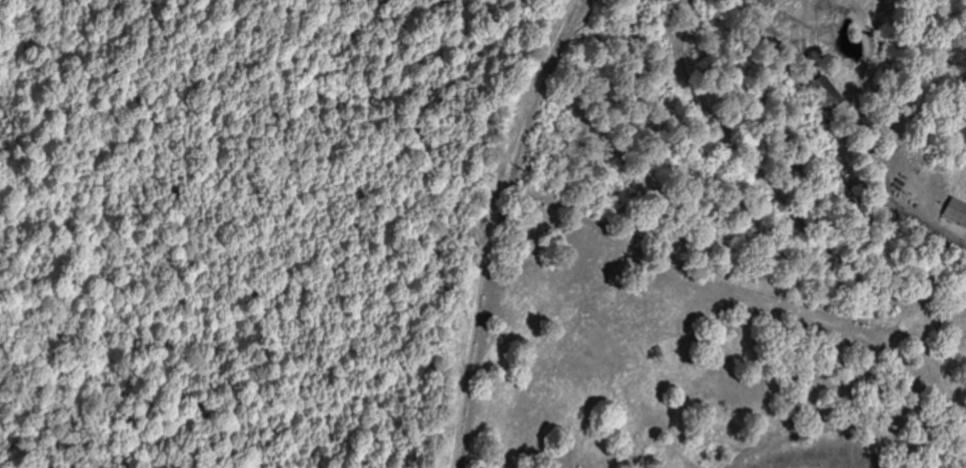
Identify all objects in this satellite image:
building: (821, 95)
building: (955, 211)

